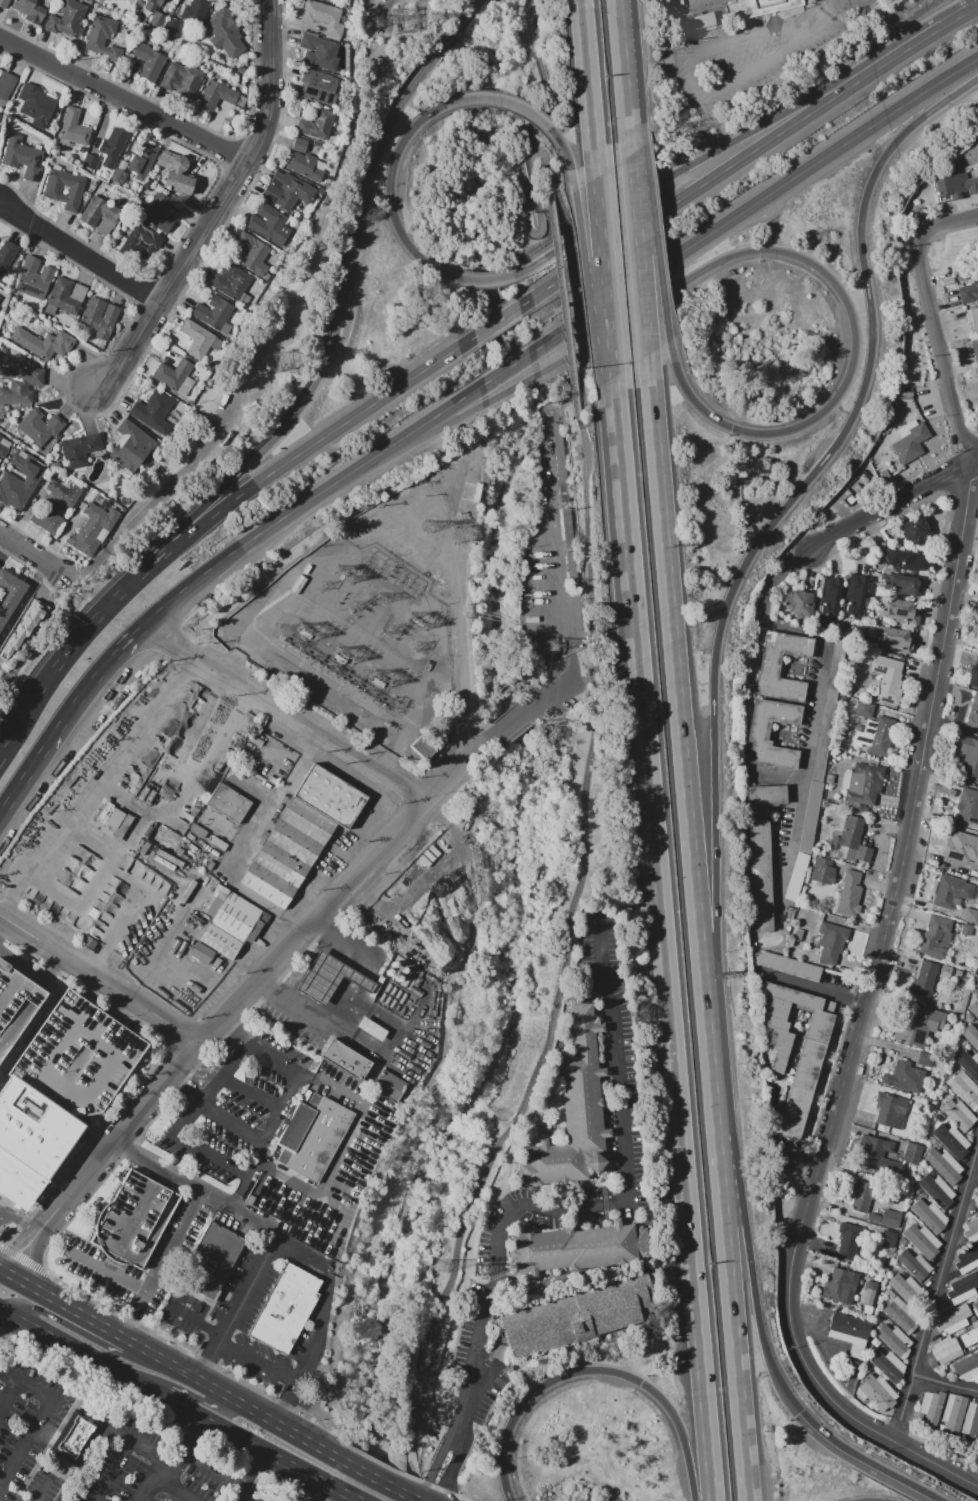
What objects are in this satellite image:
building: (133, 0)
building: (333, 1)
road: (702, 3)
building: (4, 4)
building: (152, 5)
building: (757, 7)
building: (31, 9)
building: (195, 11)
road: (834, 11)
road: (969, 11)
building: (323, 16)
building: (69, 17)
power tower: (407, 18)
building: (158, 19)
building: (701, 21)
road: (459, 22)
building: (171, 26)
building: (225, 33)
building: (101, 34)
road: (758, 38)
building: (319, 51)
building: (150, 63)
road: (743, 71)
road: (628, 77)
building: (186, 80)
building: (6, 85)
building: (319, 87)
road: (589, 88)
building: (217, 95)
road: (123, 99)
road: (502, 99)
building: (37, 103)
building: (316, 125)
building: (74, 128)
road: (733, 140)
building: (976, 141)
building: (107, 150)
building: (23, 157)
building: (143, 157)
road: (566, 158)
building: (302, 160)
road: (740, 161)
building: (176, 172)
road: (525, 184)
building: (955, 185)
building: (64, 188)
building: (287, 191)
road: (388, 195)
road: (755, 202)
road: (216, 209)
building: (98, 210)
building: (156, 212)
building: (268, 223)
road: (945, 225)
building: (138, 243)
road: (651, 247)
building: (249, 251)
building: (6, 255)
road: (79, 256)
road: (645, 267)
road: (605, 277)
road: (487, 278)
building: (34, 279)
building: (230, 281)
road: (561, 282)
road: (594, 286)
road: (837, 286)
building: (968, 293)
building: (67, 295)
building: (0, 297)
road: (340, 306)
building: (213, 312)
building: (100, 317)
building: (972, 318)
road: (497, 321)
building: (197, 339)
building: (43, 343)
road: (940, 349)
building: (975, 349)
power tower: (284, 364)
road: (509, 366)
road: (428, 367)
building: (174, 373)
building: (20, 384)
road: (511, 388)
building: (153, 412)
building: (40, 426)
road: (418, 426)
traffic signals: (731, 429)
road: (421, 436)
building: (133, 442)
building: (910, 443)
building: (4, 446)
building: (80, 449)
road: (977, 463)
road: (280, 466)
building: (560, 469)
building: (19, 482)
road: (324, 491)
building: (563, 493)
building: (55, 507)
road: (893, 507)
power tower: (428, 523)
road: (589, 525)
building: (567, 527)
building: (93, 529)
building: (914, 529)
power tower: (464, 530)
road: (755, 544)
road: (31, 556)
road: (554, 558)
building: (906, 559)
road: (218, 565)
building: (572, 567)
road: (145, 572)
building: (902, 584)
building: (856, 593)
building: (9, 595)
building: (829, 596)
road: (23, 603)
building: (798, 603)
building: (898, 611)
building: (22, 629)
building: (977, 632)
building: (894, 640)
power substation: (353, 642)
power tower: (550, 648)
building: (769, 667)
road: (52, 677)
building: (888, 678)
building: (973, 678)
road: (586, 679)
road: (558, 685)
road: (817, 690)
parking lot: (567, 698)
building: (865, 709)
road: (287, 712)
road: (519, 713)
building: (973, 713)
road: (66, 717)
road: (194, 726)
building: (758, 732)
road: (686, 735)
building: (874, 736)
road: (0, 752)
building: (969, 756)
building: (817, 771)
building: (863, 782)
building: (330, 795)
building: (230, 802)
road: (130, 804)
building: (968, 806)
building: (198, 830)
building: (851, 840)
building: (218, 843)
road: (51, 844)
building: (960, 846)
building: (761, 850)
building: (288, 854)
building: (170, 858)
building: (164, 862)
building: (160, 868)
building: (822, 870)
road: (341, 884)
building: (188, 891)
building: (951, 891)
building: (850, 893)
building: (231, 913)
building: (970, 915)
road: (3, 923)
building: (967, 929)
road: (340, 931)
building: (936, 936)
road: (663, 940)
building: (219, 941)
building: (831, 941)
building: (201, 953)
road: (96, 957)
road: (879, 959)
building: (790, 965)
road: (31, 969)
building: (945, 971)
road: (54, 973)
building: (958, 973)
road: (317, 975)
road: (96, 977)
building: (327, 977)
building: (977, 977)
building: (923, 979)
building: (976, 981)
building: (977, 985)
road: (86, 989)
road: (830, 992)
road: (279, 993)
building: (974, 1006)
building: (16, 1007)
parking lot: (16, 1007)
road: (124, 1015)
building: (938, 1015)
building: (371, 1028)
road: (31, 1031)
building: (912, 1033)
building: (971, 1035)
road: (179, 1036)
road: (249, 1048)
building: (78, 1059)
parking lot: (78, 1059)
building: (345, 1059)
building: (925, 1059)
building: (810, 1060)
building: (968, 1063)
building: (900, 1075)
road: (531, 1083)
building: (389, 1085)
road: (185, 1087)
building: (965, 1089)
road: (251, 1095)
parking lot: (621, 1095)
road: (718, 1107)
building: (573, 1111)
building: (890, 1112)
building: (957, 1114)
parking lot: (229, 1122)
road: (232, 1123)
building: (32, 1136)
road: (116, 1137)
building: (316, 1139)
building: (951, 1139)
road: (83, 1149)
building: (912, 1153)
building: (876, 1154)
building: (977, 1161)
building: (943, 1165)
road: (156, 1168)
building: (937, 1190)
building: (868, 1194)
building: (976, 1197)
road: (559, 1206)
road: (238, 1212)
building: (929, 1215)
building: (886, 1218)
road: (20, 1221)
building: (132, 1221)
building: (971, 1230)
building: (888, 1238)
building: (922, 1240)
building: (848, 1241)
road: (18, 1244)
building: (579, 1247)
building: (968, 1258)
road: (23, 1259)
road: (34, 1260)
road: (946, 1260)
building: (211, 1261)
power tower: (443, 1264)
road: (162, 1265)
building: (915, 1265)
power tower: (479, 1268)
road: (750, 1270)
road: (110, 1272)
building: (834, 1285)
building: (908, 1290)
building: (961, 1290)
building: (977, 1292)
building: (867, 1298)
road: (236, 1304)
building: (975, 1308)
building: (286, 1310)
road: (737, 1312)
building: (578, 1315)
building: (902, 1317)
building: (955, 1318)
road: (195, 1319)
road: (325, 1321)
road: (5, 1322)
road: (77, 1329)
building: (849, 1332)
building: (971, 1334)
building: (894, 1340)
building: (945, 1350)
road: (154, 1354)
road: (258, 1363)
building: (886, 1364)
building: (966, 1366)
road: (597, 1370)
road: (945, 1383)
building: (875, 1392)
road: (426, 1393)
road: (191, 1394)
road: (9, 1399)
road: (174, 1402)
building: (931, 1407)
road: (903, 1408)
traffic signals: (803, 1409)
building: (953, 1412)
road: (88, 1417)
road: (156, 1417)
building: (970, 1421)
road: (39, 1422)
building: (73, 1438)
parking lot: (89, 1447)
road: (324, 1447)
road: (921, 1458)
road: (870, 1460)
road: (177, 1463)
road: (213, 1468)
road: (113, 1470)
road: (370, 1473)
road: (248, 1475)
road: (175, 1489)
road: (313, 1489)
road: (247, 1495)
road: (411, 1495)
road: (356, 1497)
road: (0, 1500)

